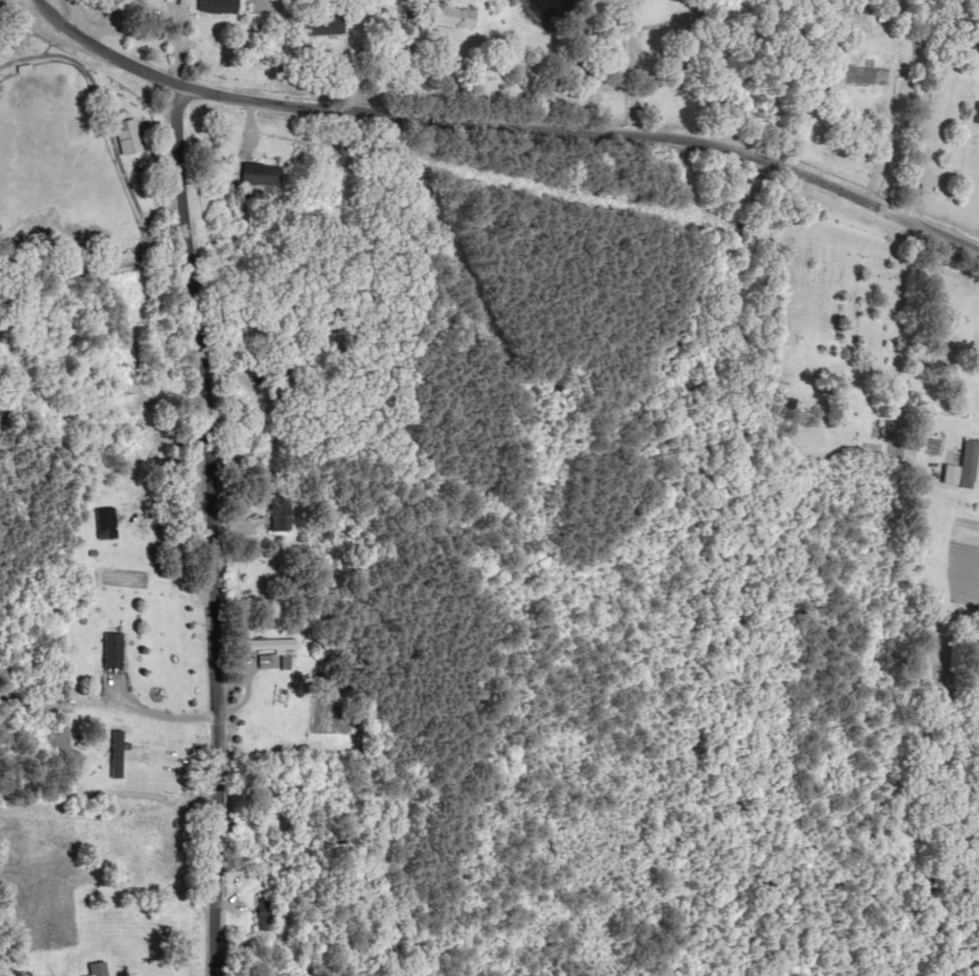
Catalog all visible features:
building: (220, 6)
building: (463, 17)
building: (331, 25)
road: (911, 109)
building: (977, 115)
road: (471, 120)
building: (130, 136)
building: (264, 174)
road: (946, 233)
building: (965, 467)
road: (218, 506)
building: (282, 513)
building: (107, 523)
building: (273, 644)
building: (115, 650)
building: (273, 671)
building: (268, 914)
building: (100, 969)

